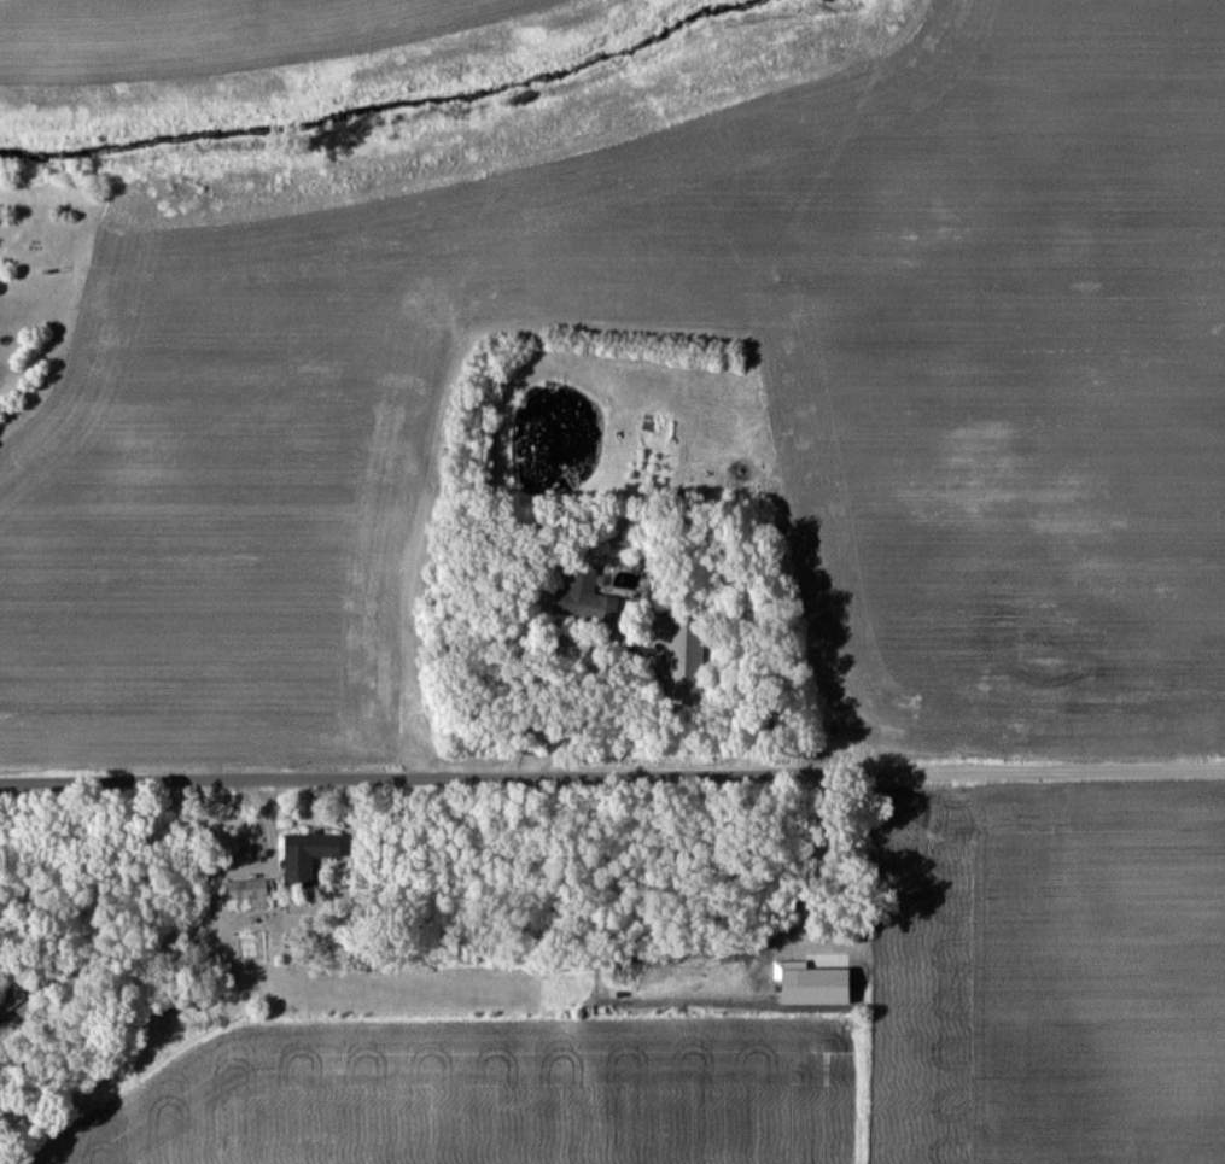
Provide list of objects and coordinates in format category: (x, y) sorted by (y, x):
building: (578, 586)
building: (682, 653)
road: (612, 774)
building: (304, 856)
building: (243, 895)
building: (8, 1002)

